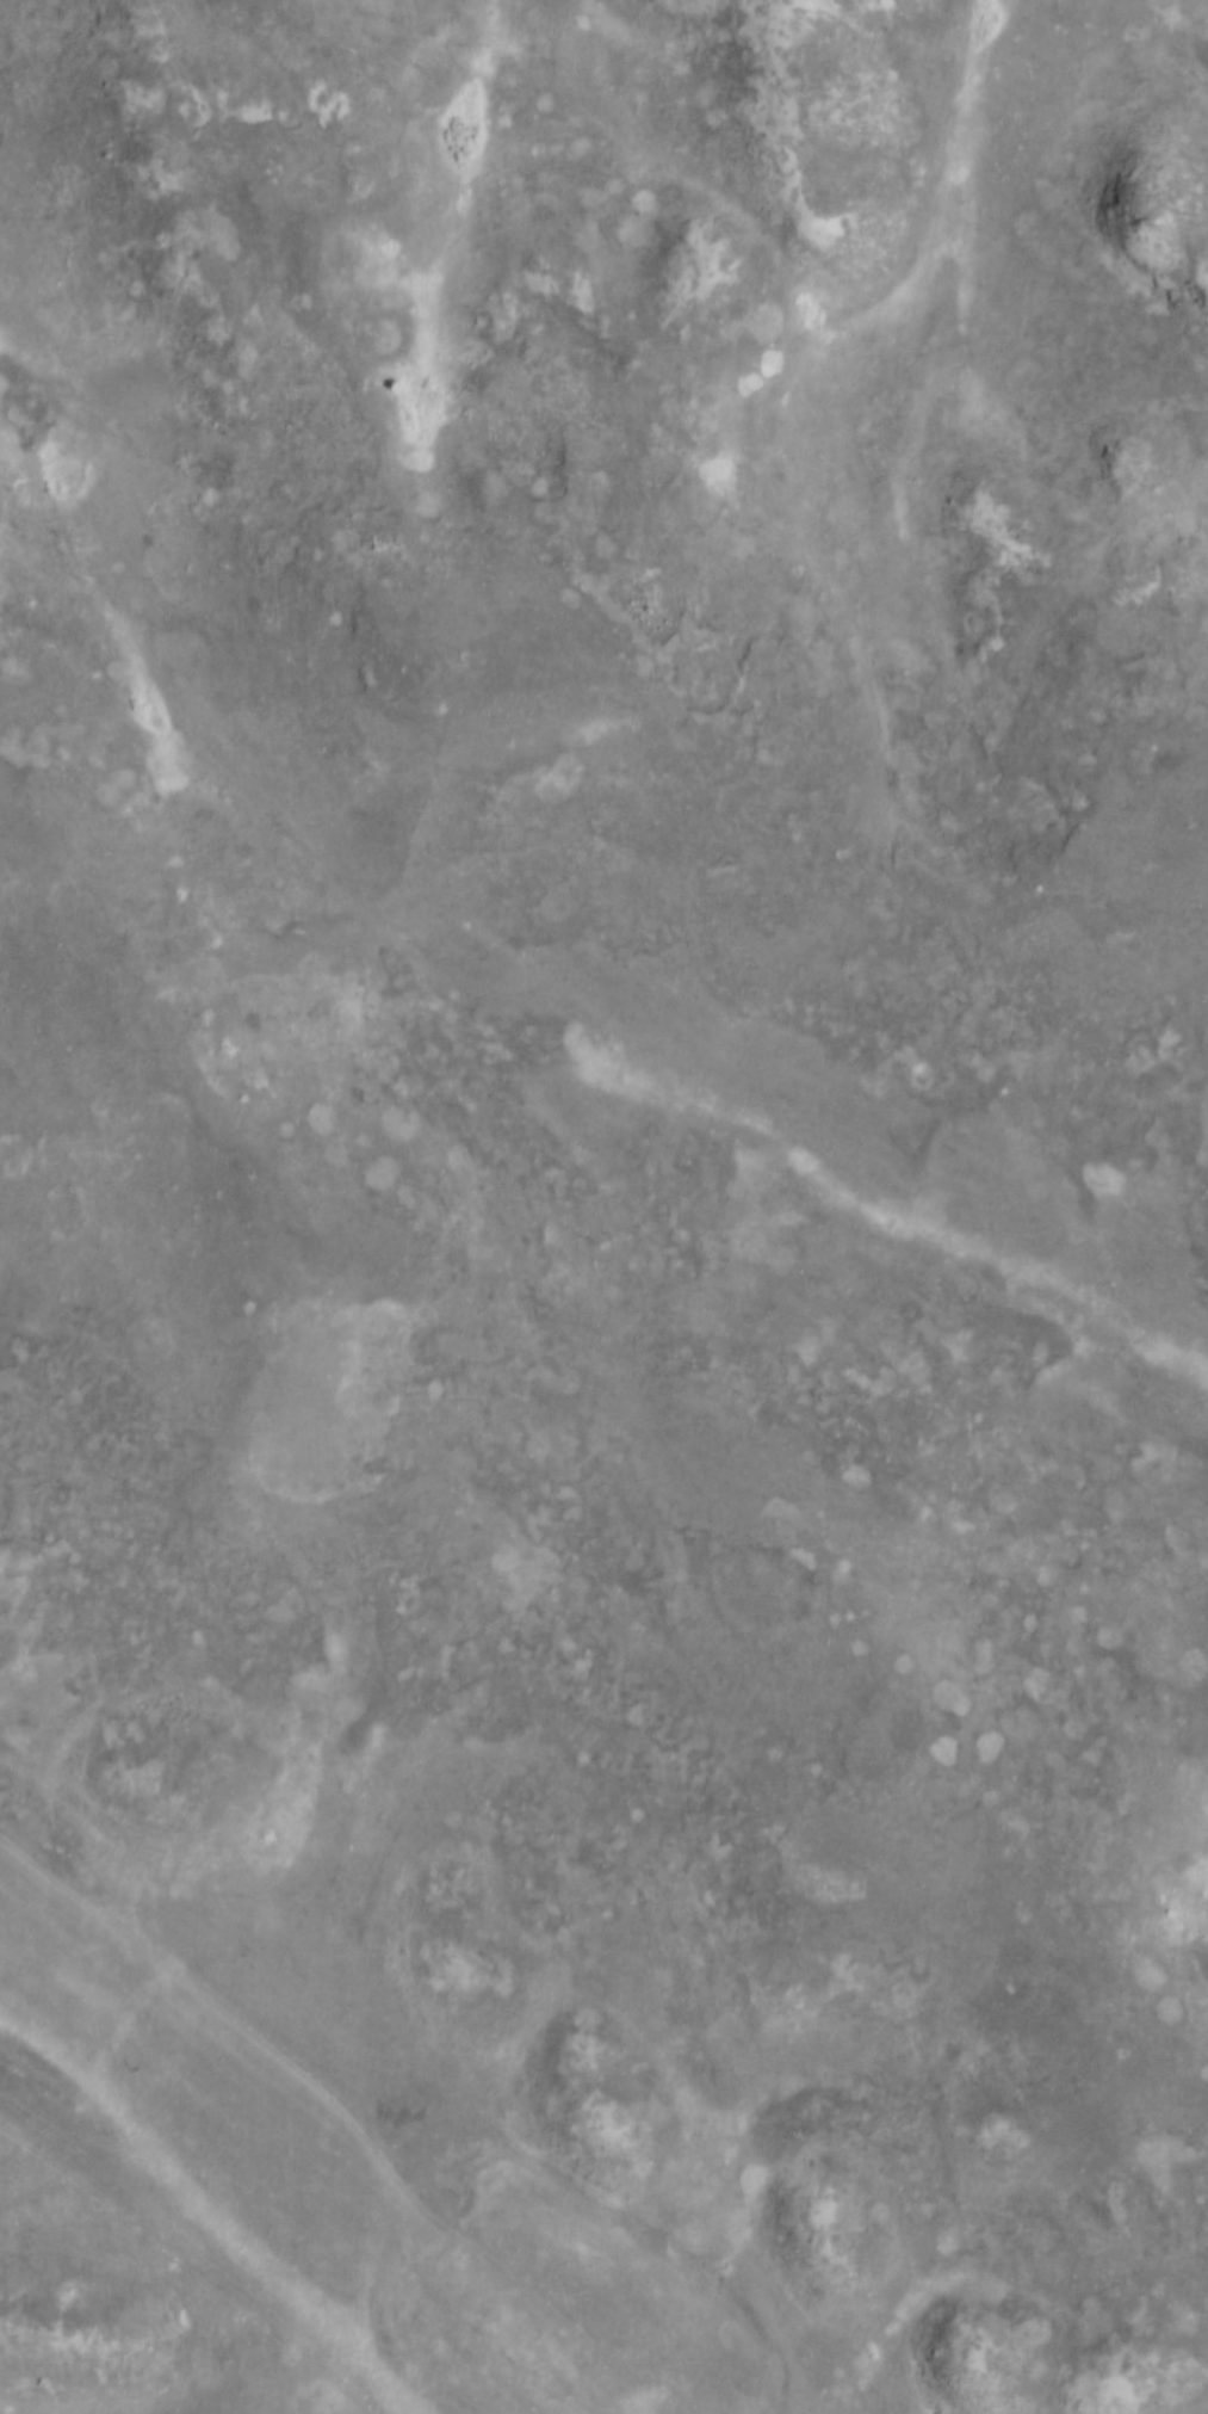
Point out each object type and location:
road: (352, 2122)

